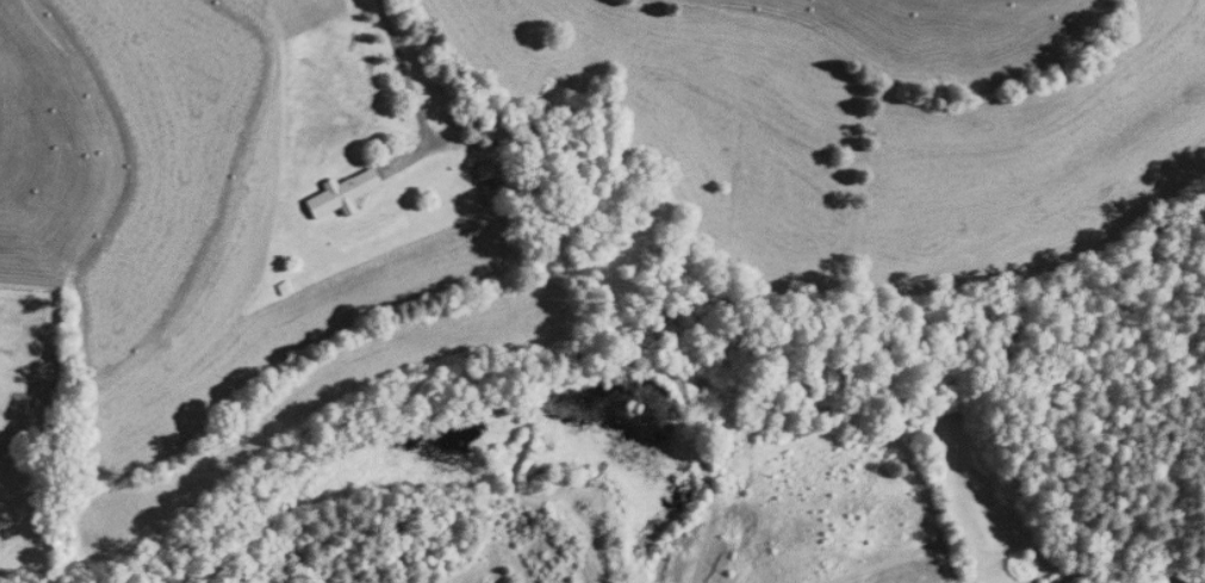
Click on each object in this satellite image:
road: (402, 72)
building: (343, 193)
building: (492, 196)

